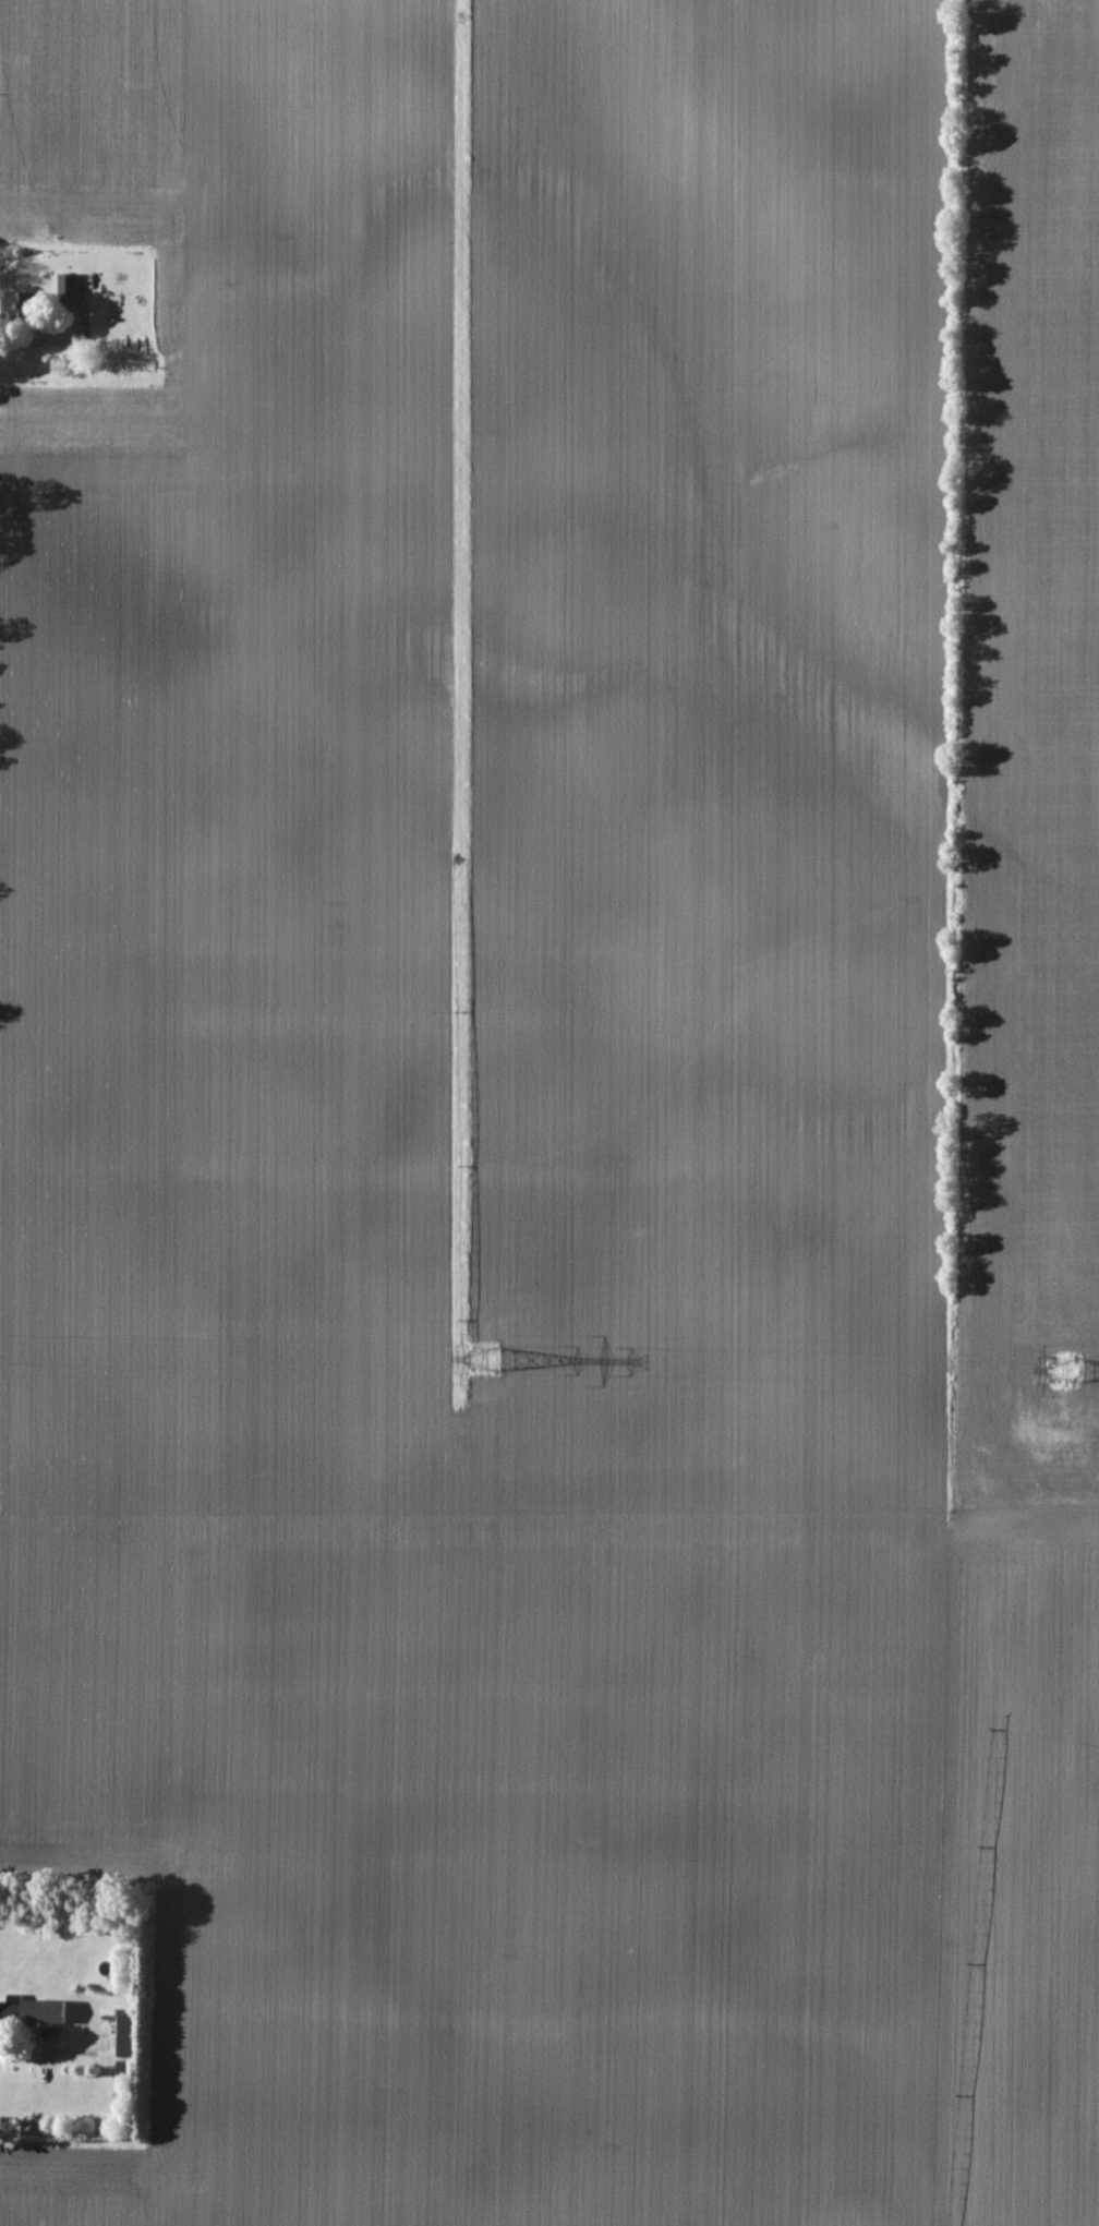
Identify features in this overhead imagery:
building: (63, 291)
building: (21, 305)
road: (32, 341)
power tower: (485, 1358)
power tower: (1061, 1371)
building: (31, 2011)
building: (124, 2036)
road: (26, 2046)

